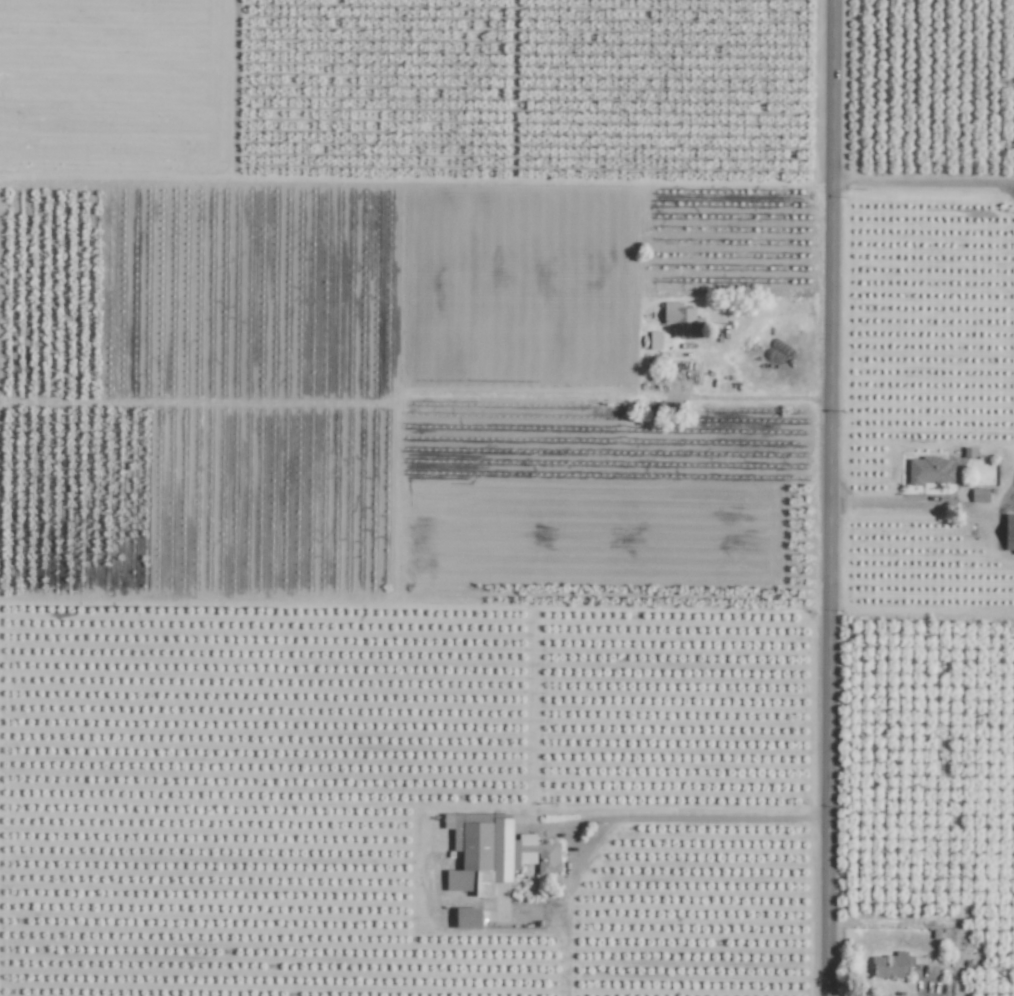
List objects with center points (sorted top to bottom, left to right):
road: (922, 187)
building: (680, 319)
building: (654, 340)
road: (750, 397)
building: (929, 471)
building: (979, 495)
road: (829, 498)
road: (885, 502)
road: (921, 613)
road: (624, 817)
building: (493, 852)
building: (468, 918)
building: (891, 965)

